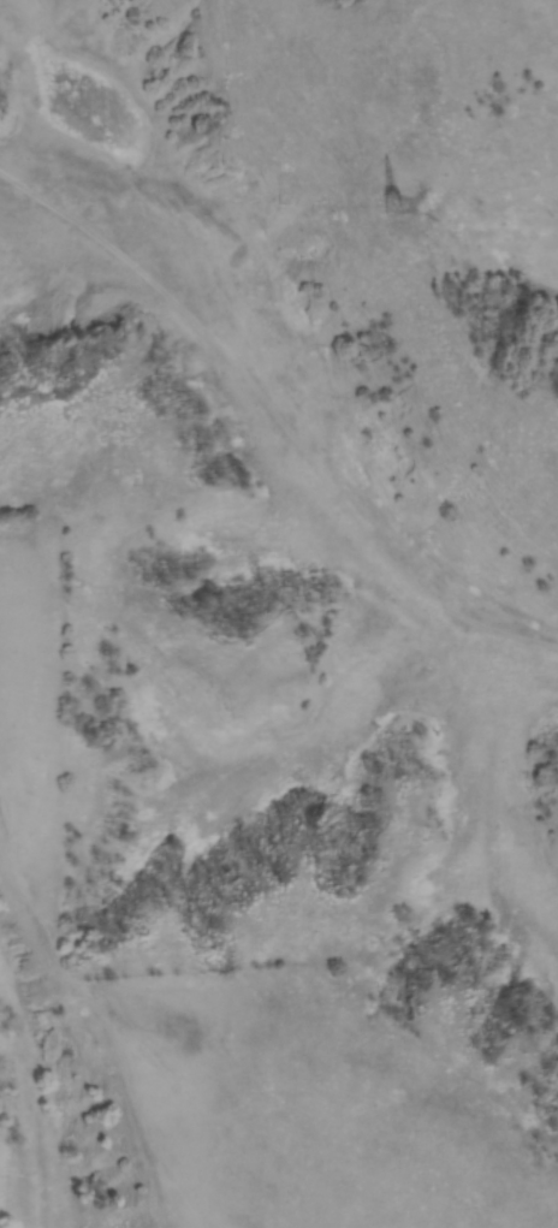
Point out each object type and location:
power tower: (385, 208)

